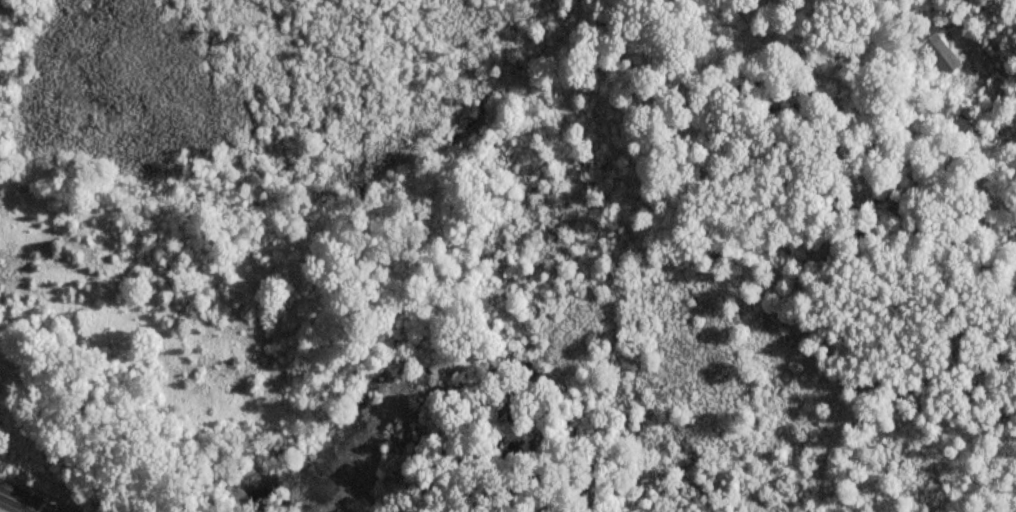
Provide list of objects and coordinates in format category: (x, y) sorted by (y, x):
building: (936, 61)
road: (19, 501)

